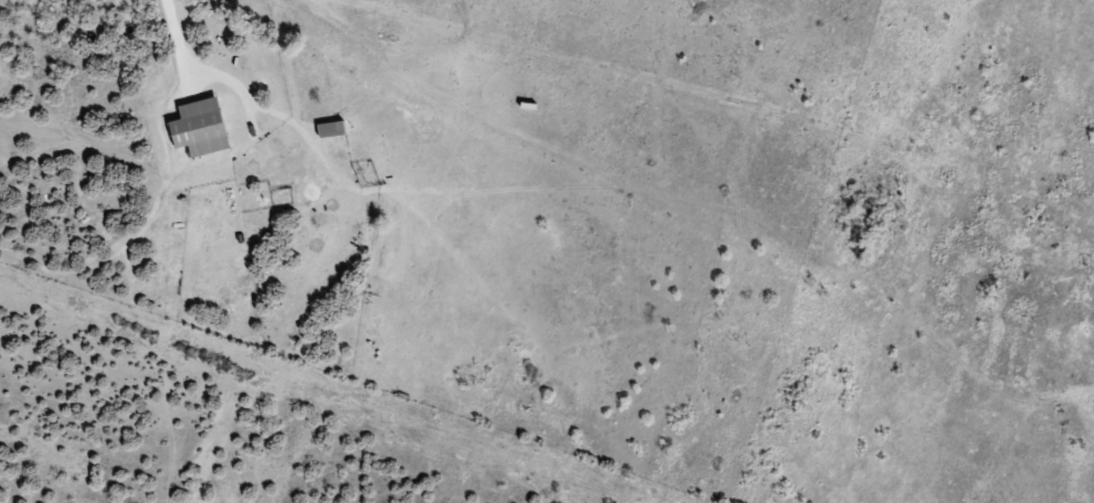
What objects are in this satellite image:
building: (204, 127)
building: (336, 128)

